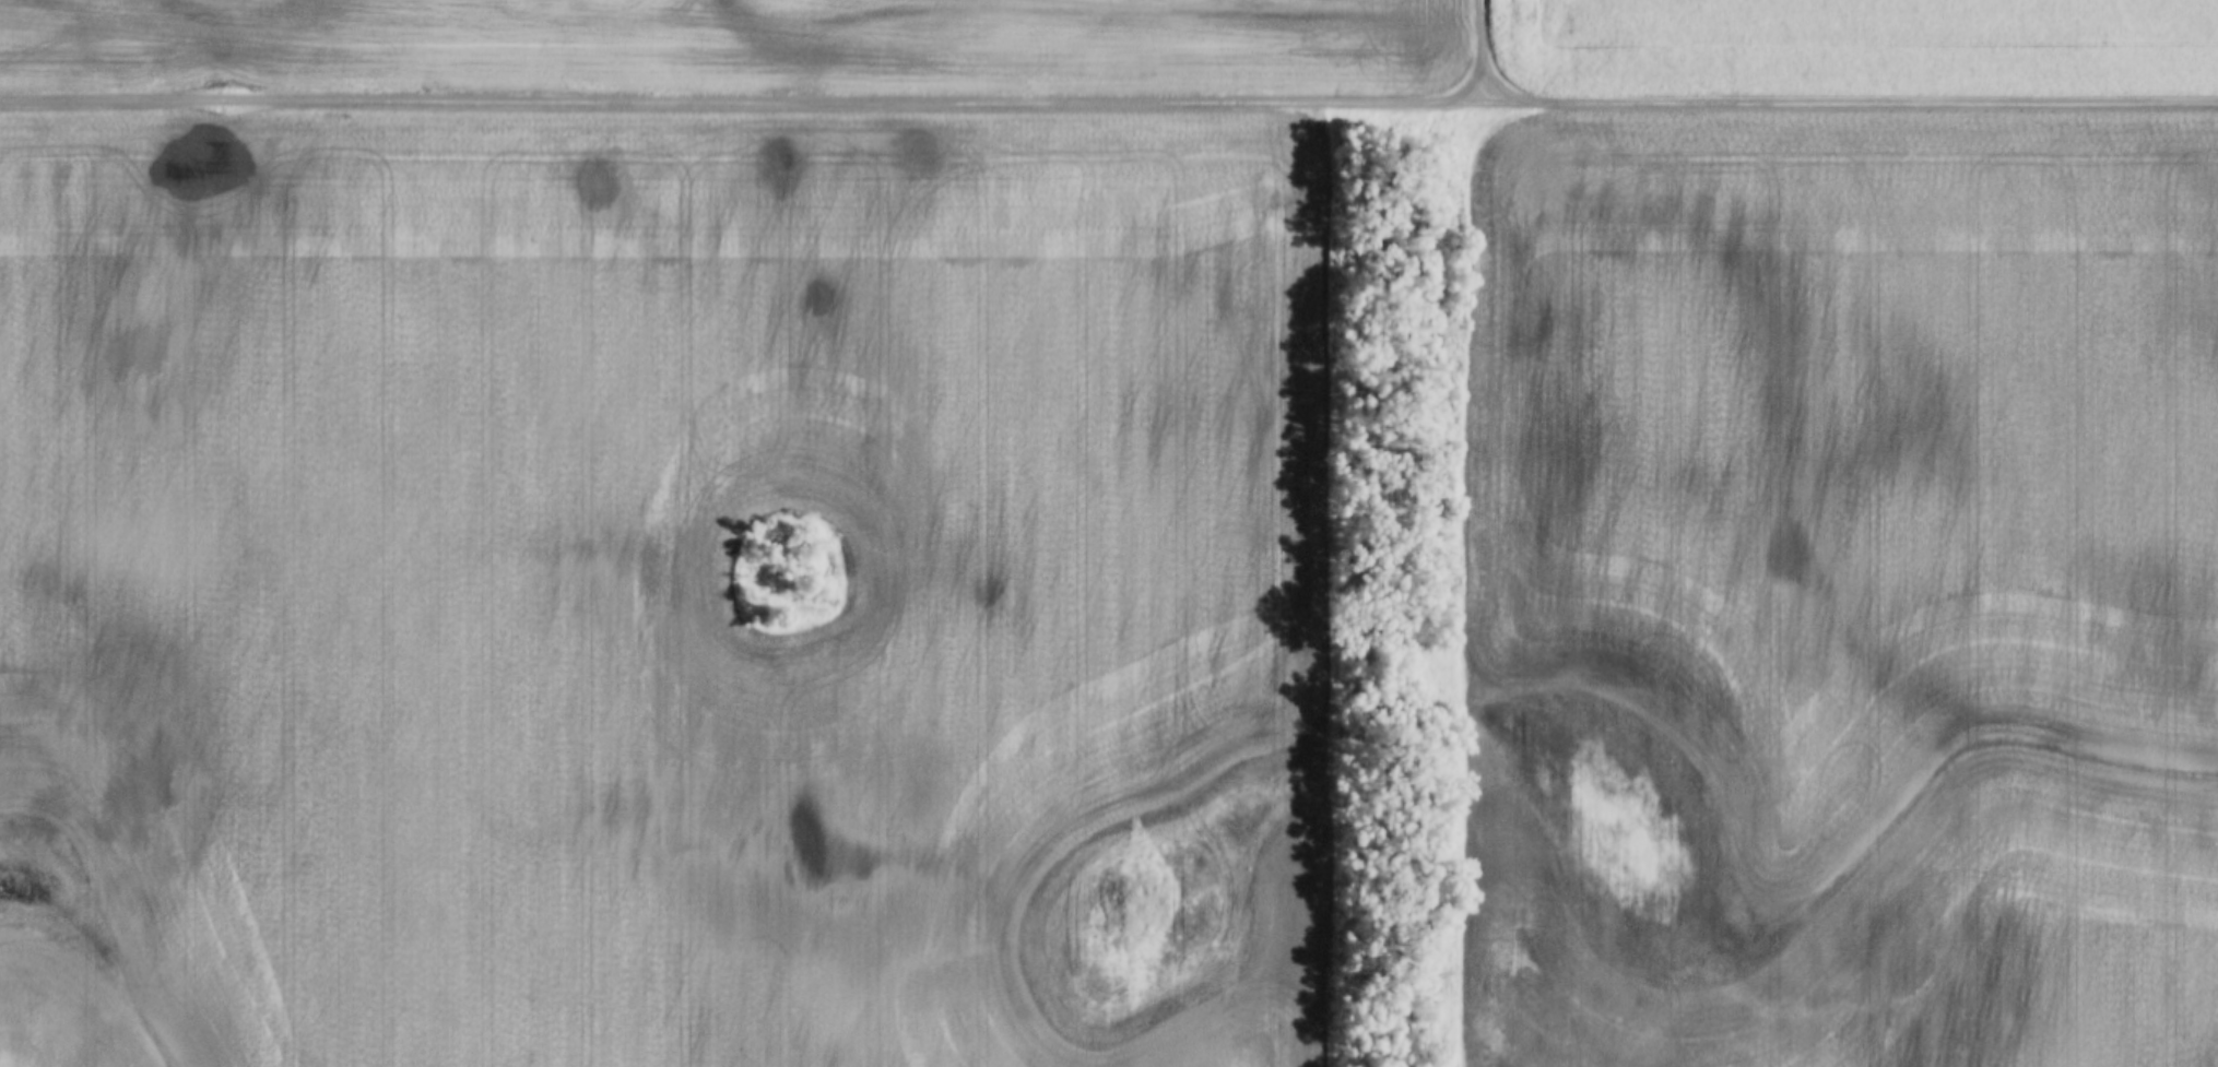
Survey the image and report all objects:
road: (1483, 49)
road: (1109, 97)
road: (1332, 582)

